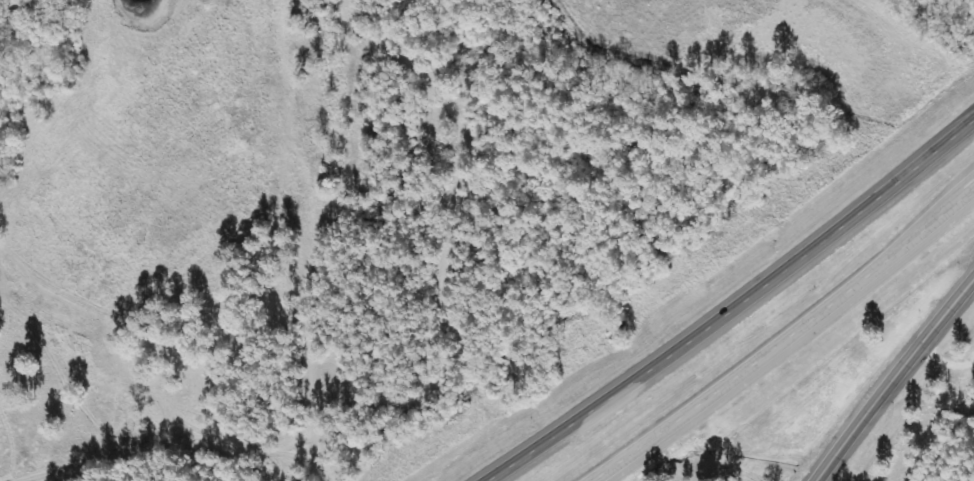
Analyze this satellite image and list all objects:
road: (955, 203)
road: (736, 303)
road: (764, 353)
road: (893, 379)

